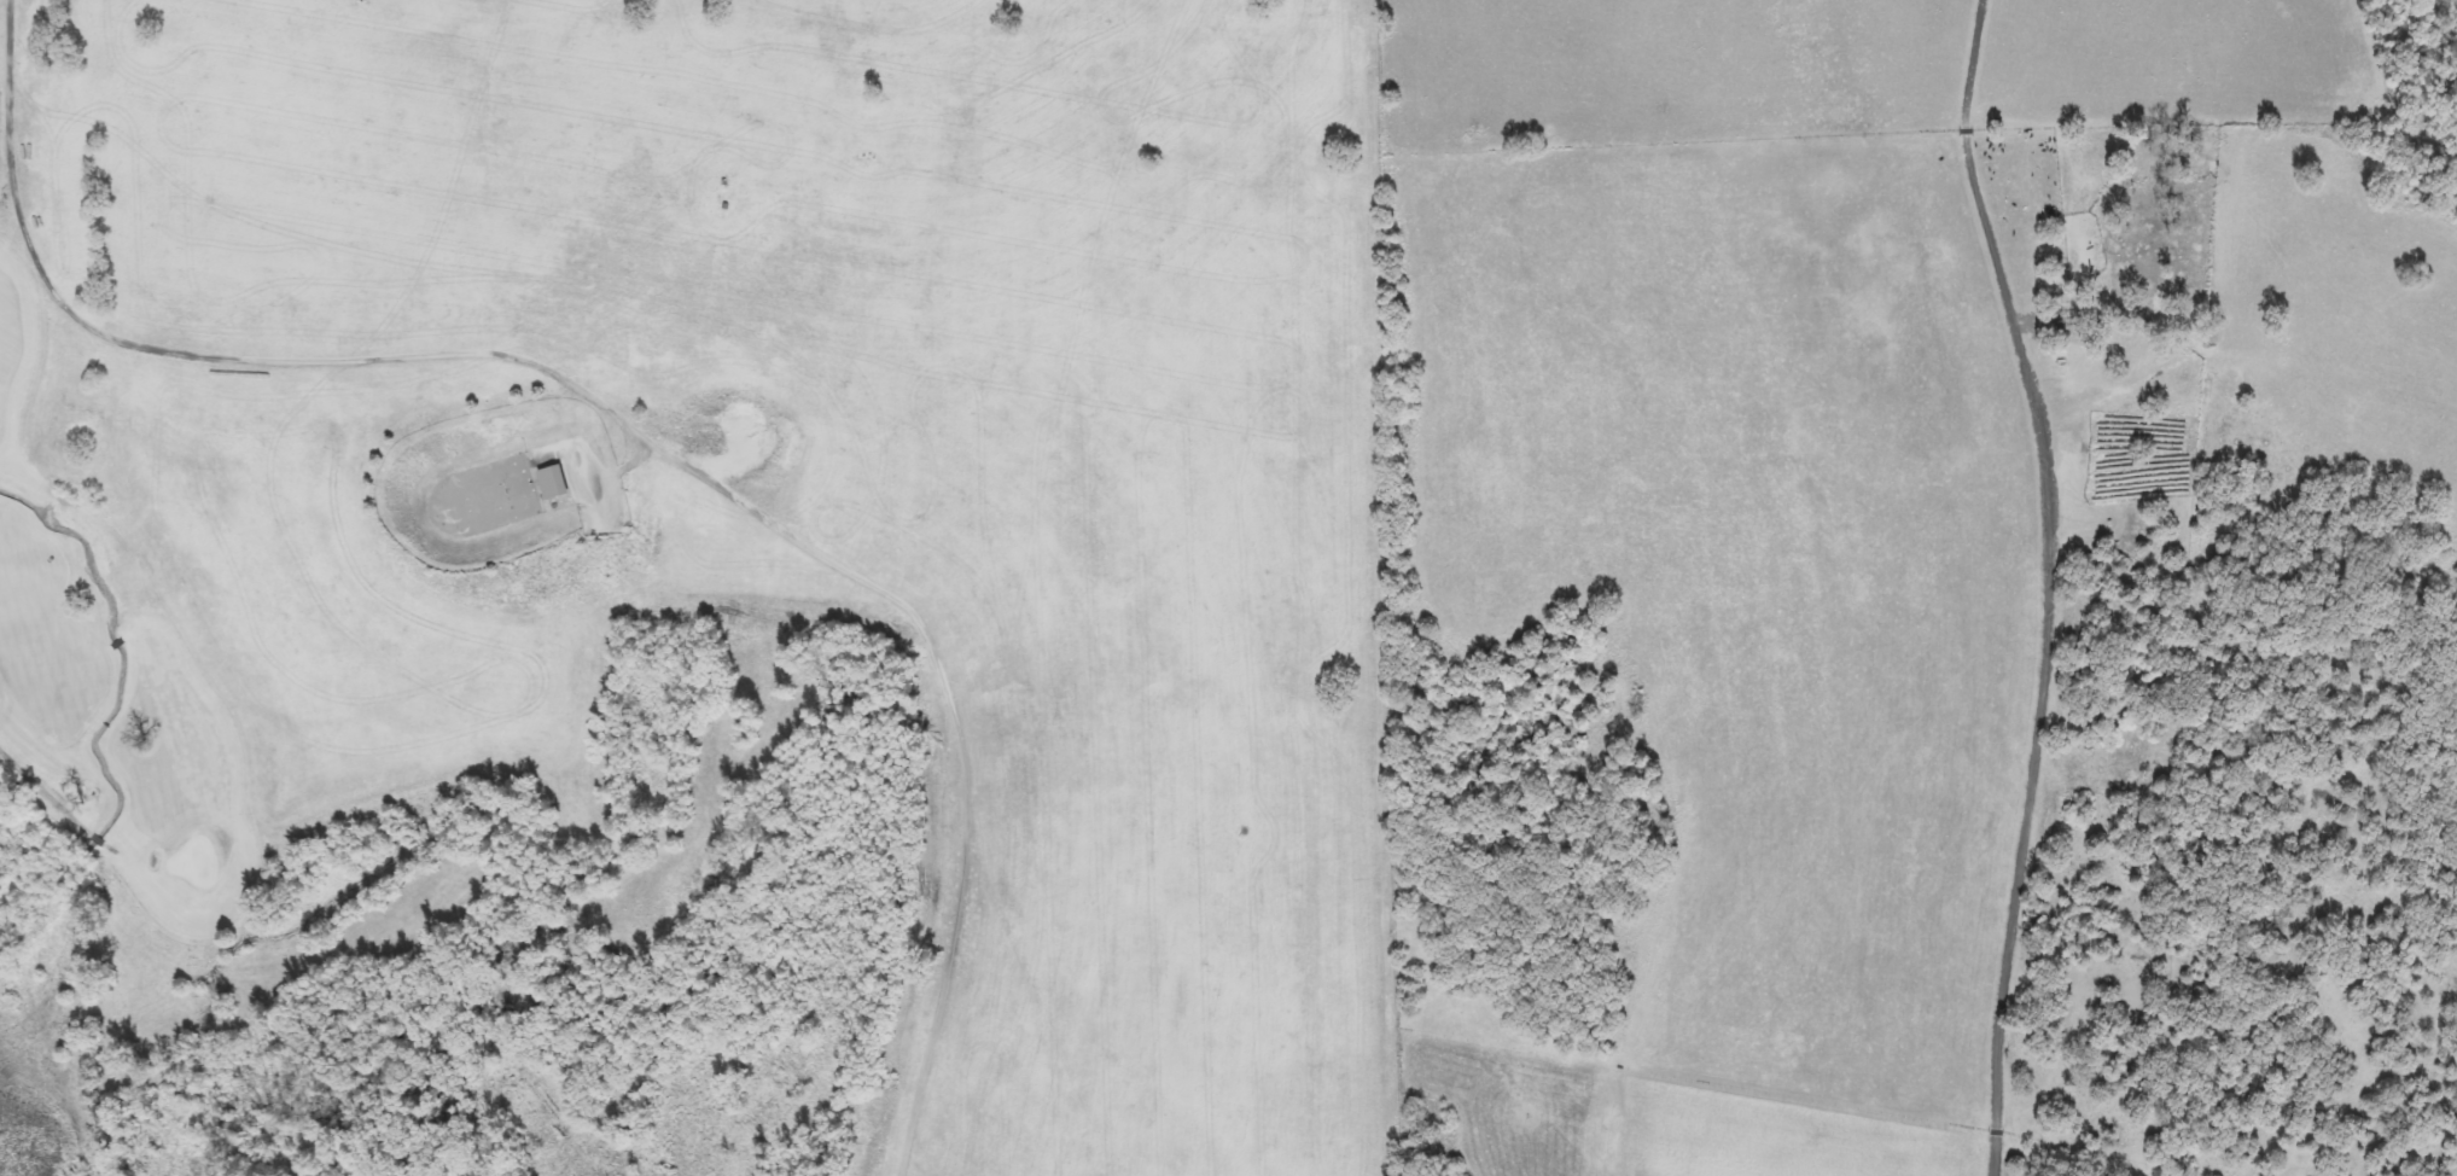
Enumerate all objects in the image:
building: (553, 482)

